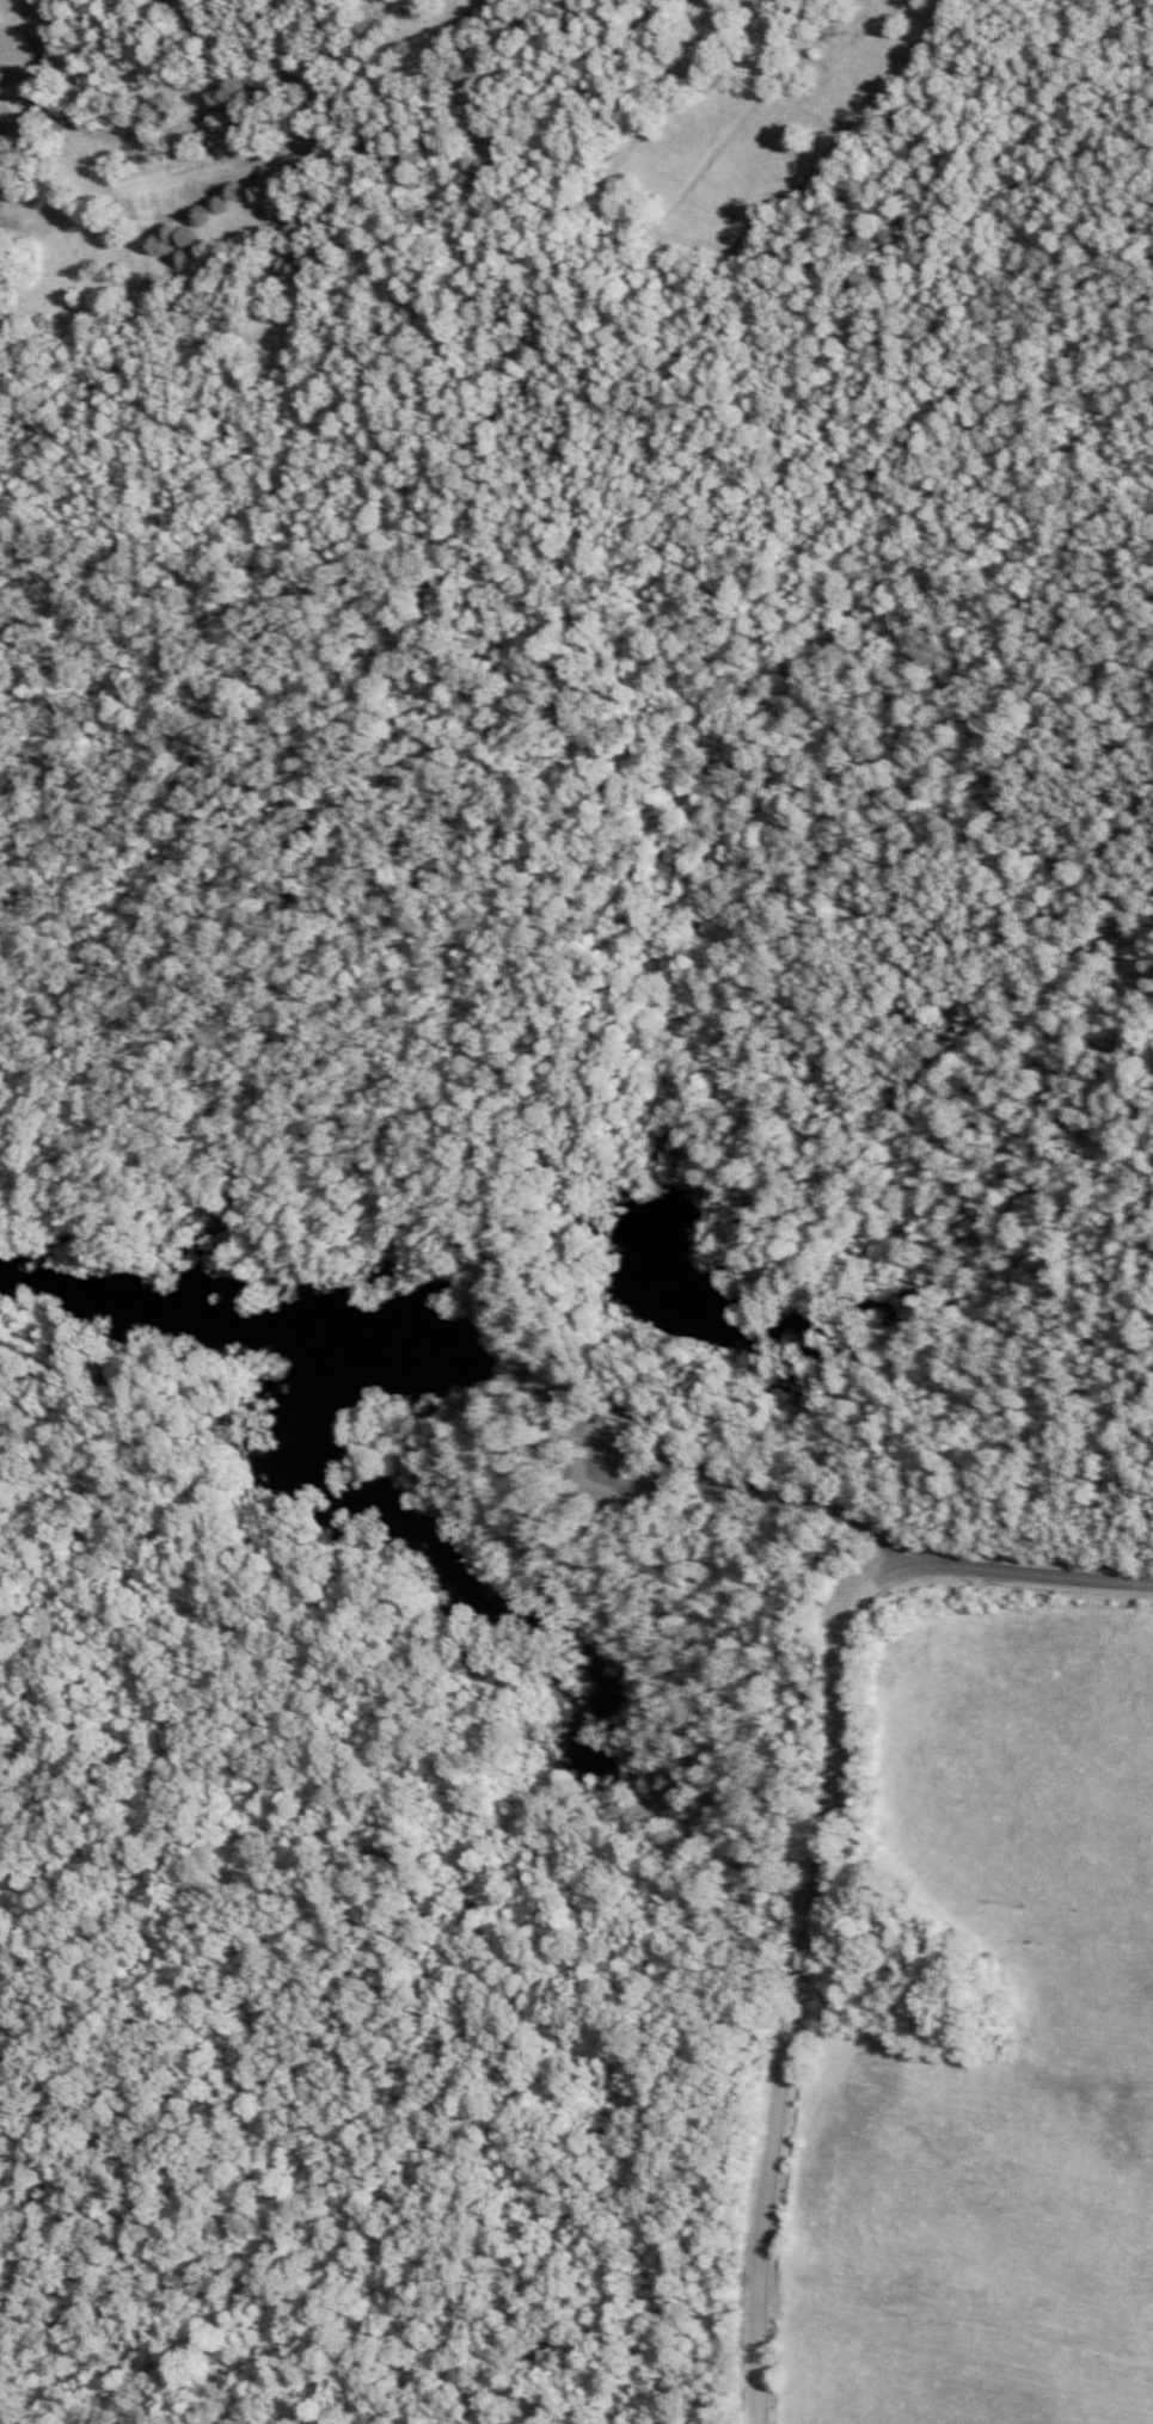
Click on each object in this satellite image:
road: (465, 780)
road: (262, 1159)
road: (361, 1209)
road: (551, 1284)
river: (201, 1325)
road: (644, 1383)
park: (508, 1405)
road: (677, 1462)
road: (511, 1466)
road: (444, 1479)
road: (833, 1516)
road: (1030, 1573)
road: (663, 1612)
road: (789, 1976)

